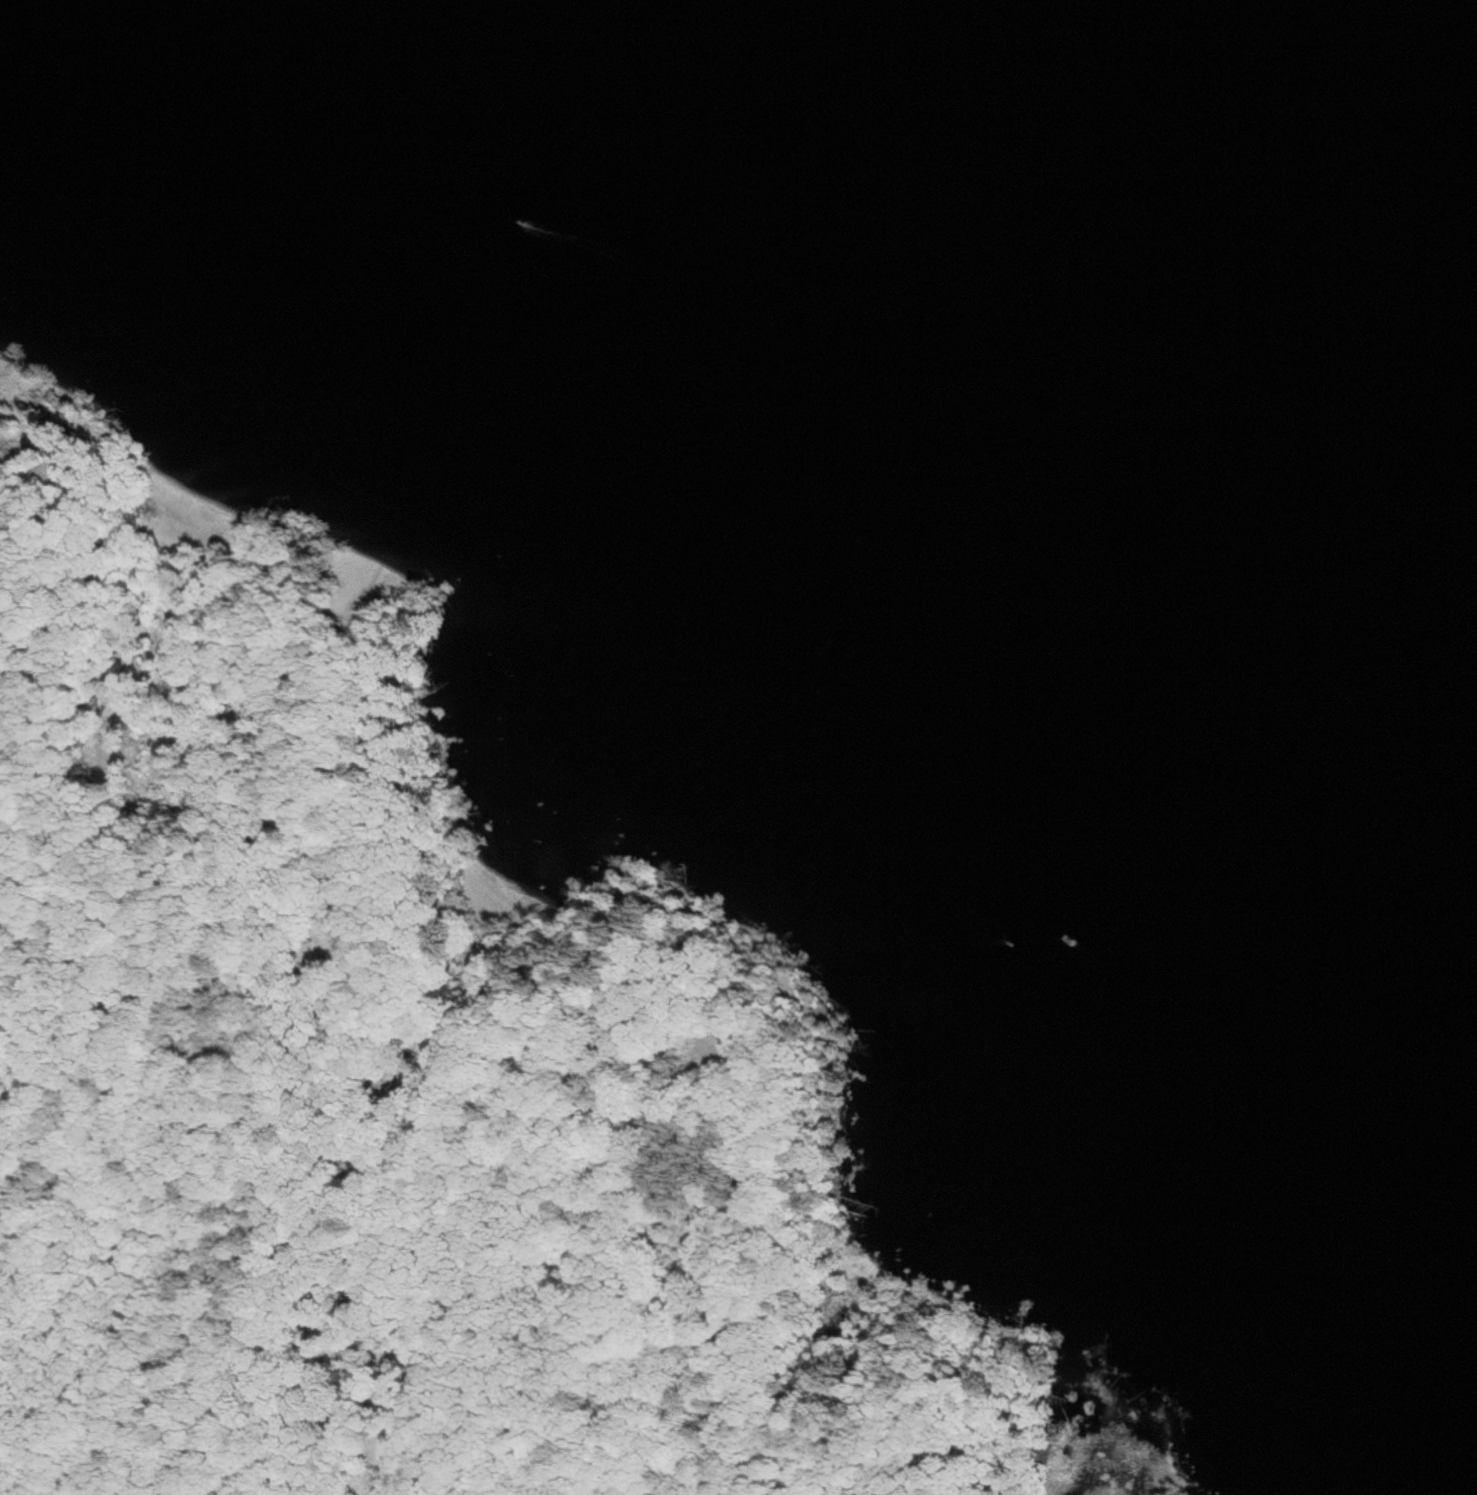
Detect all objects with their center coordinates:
park: (419, 1092)

